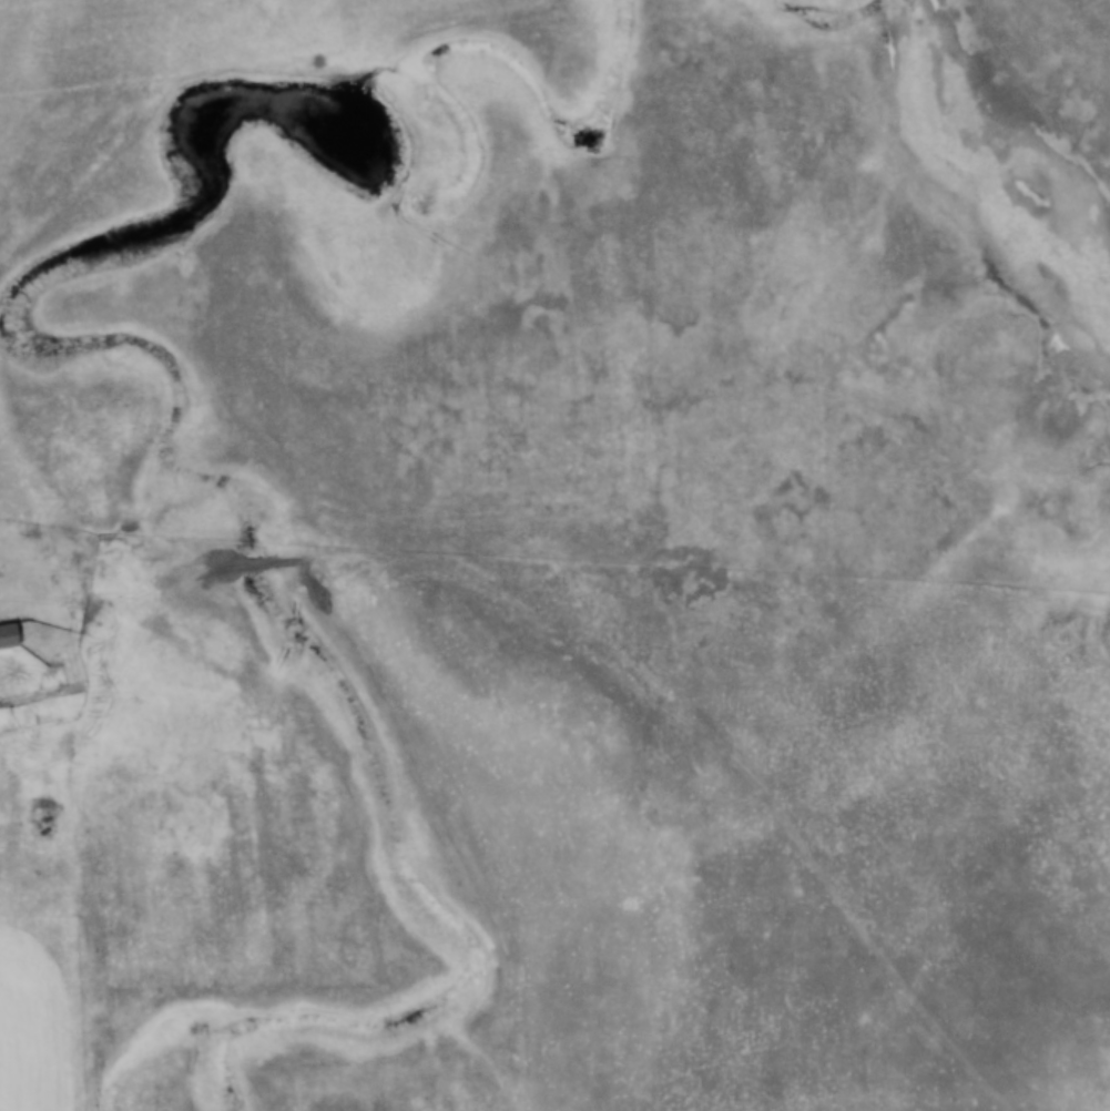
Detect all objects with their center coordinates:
building: (7, 635)

